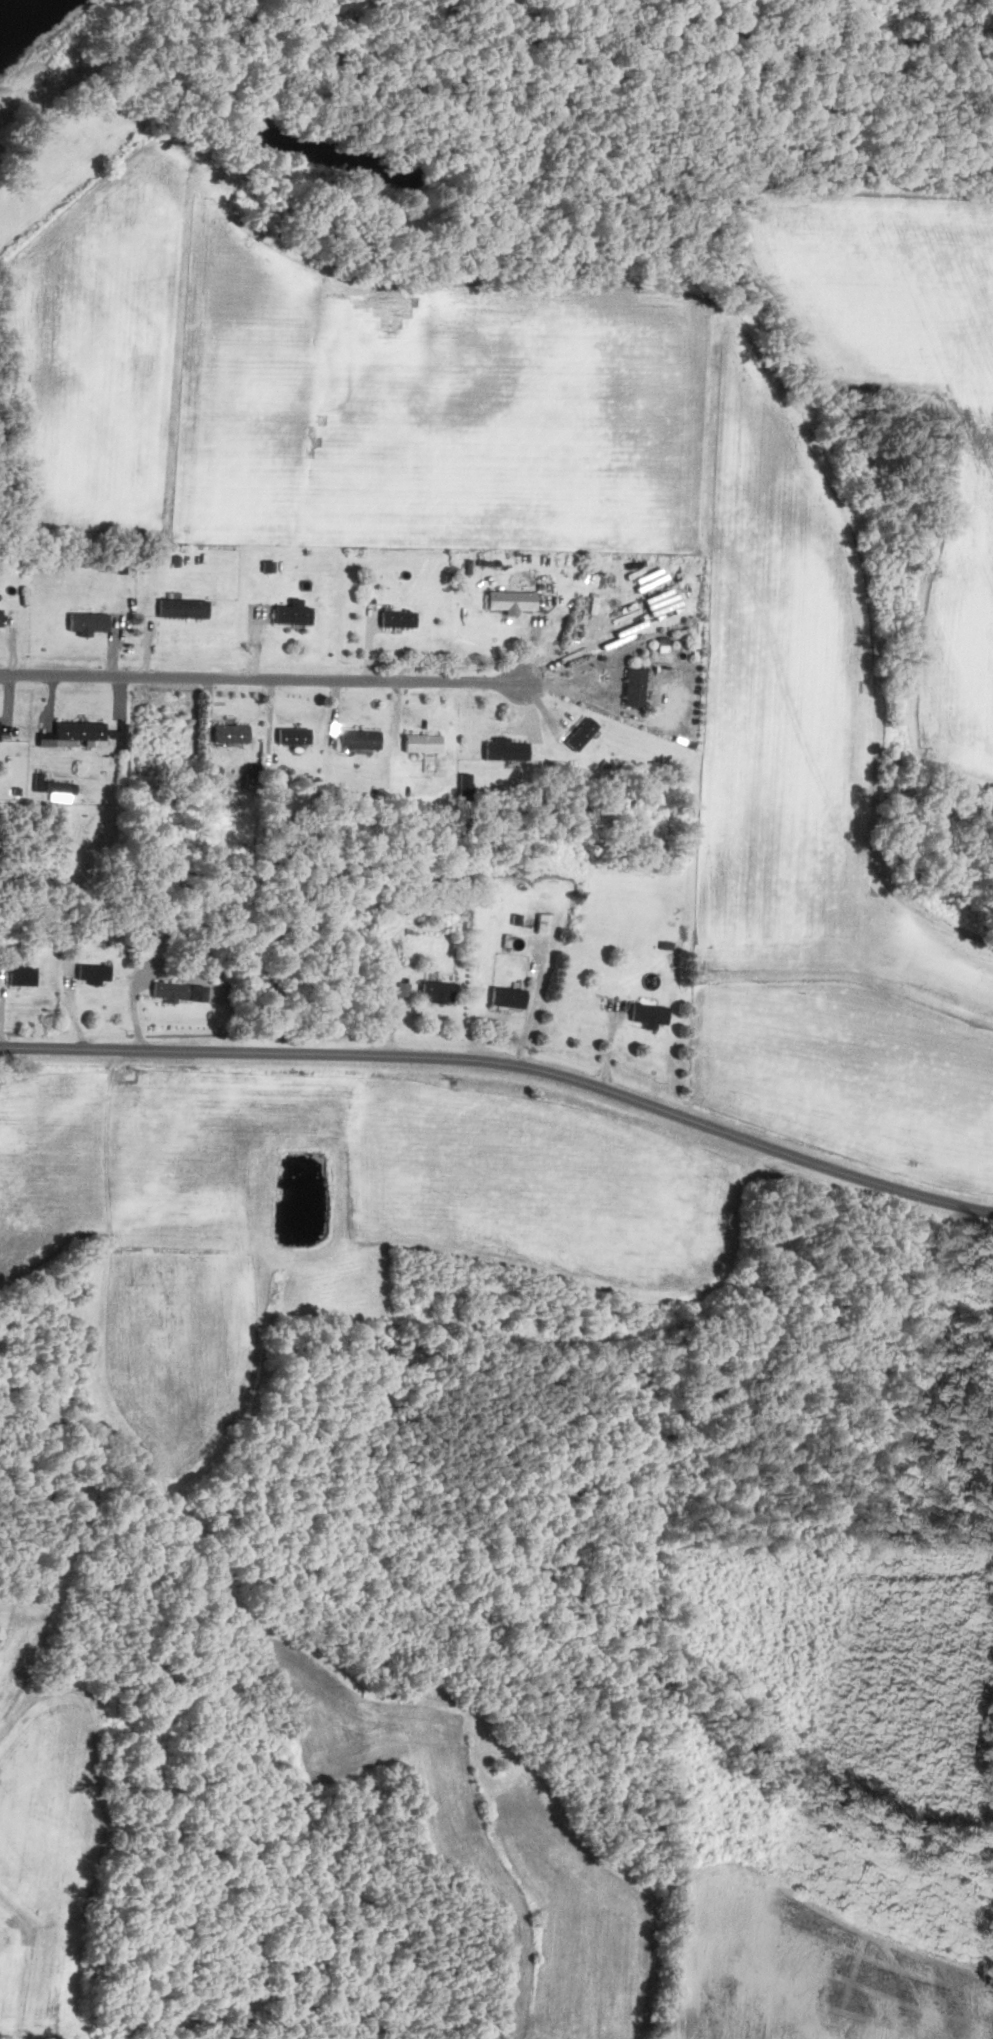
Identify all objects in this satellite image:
building: (509, 603)
building: (180, 610)
building: (290, 615)
building: (396, 621)
building: (86, 624)
road: (261, 678)
building: (632, 689)
road: (575, 694)
building: (77, 733)
building: (229, 735)
building: (578, 735)
building: (121, 736)
building: (291, 738)
building: (357, 741)
building: (420, 745)
building: (504, 752)
building: (59, 791)
building: (543, 923)
building: (91, 976)
building: (20, 977)
building: (402, 989)
building: (436, 991)
building: (178, 993)
building: (506, 997)
building: (648, 1015)
road: (503, 1067)

